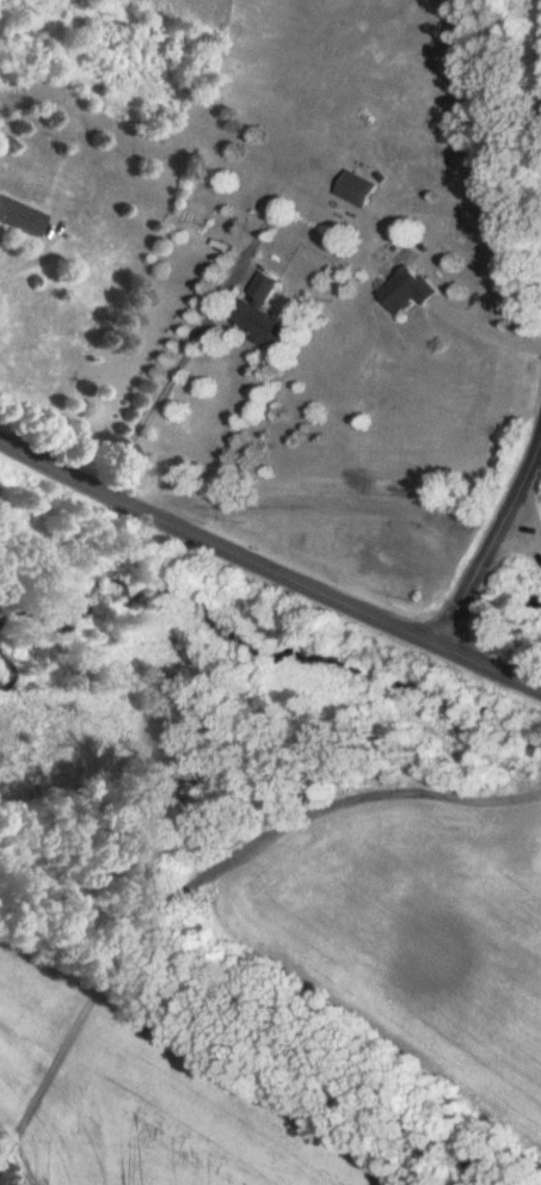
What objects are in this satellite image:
building: (354, 188)
building: (21, 215)
road: (27, 239)
building: (405, 289)
building: (260, 312)
road: (486, 330)
road: (156, 369)
road: (493, 555)
road: (268, 570)

